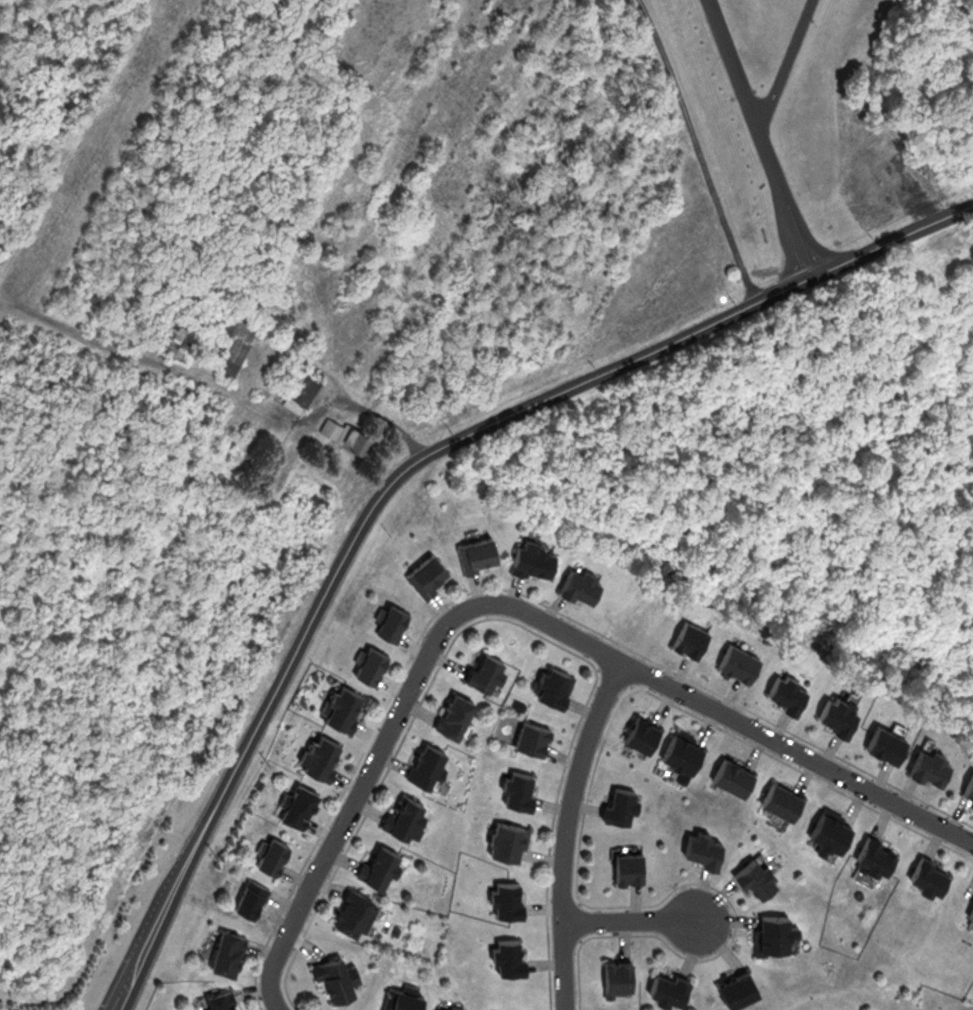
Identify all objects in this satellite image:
road: (785, 63)
road: (762, 137)
road: (700, 150)
building: (180, 339)
building: (230, 352)
building: (300, 387)
road: (305, 415)
building: (343, 433)
road: (410, 464)
building: (476, 553)
building: (533, 556)
building: (426, 574)
building: (579, 584)
road: (518, 608)
building: (390, 621)
building: (689, 637)
building: (738, 661)
building: (370, 664)
building: (483, 669)
building: (553, 684)
building: (785, 691)
building: (342, 707)
building: (452, 712)
building: (836, 713)
building: (640, 732)
building: (530, 736)
building: (885, 742)
building: (682, 751)
building: (319, 753)
building: (425, 763)
building: (929, 766)
building: (732, 775)
building: (969, 787)
building: (517, 788)
building: (780, 799)
building: (297, 804)
building: (619, 804)
building: (404, 814)
building: (829, 828)
road: (567, 830)
building: (507, 839)
building: (702, 848)
building: (874, 853)
building: (272, 856)
building: (377, 863)
building: (628, 866)
building: (927, 874)
building: (755, 875)
building: (505, 897)
building: (250, 899)
building: (353, 911)
building: (970, 913)
road: (630, 920)
building: (771, 931)
building: (227, 952)
building: (506, 954)
building: (333, 975)
building: (618, 978)
building: (734, 986)
building: (667, 987)
building: (403, 1000)
building: (220, 1001)
building: (442, 1008)

